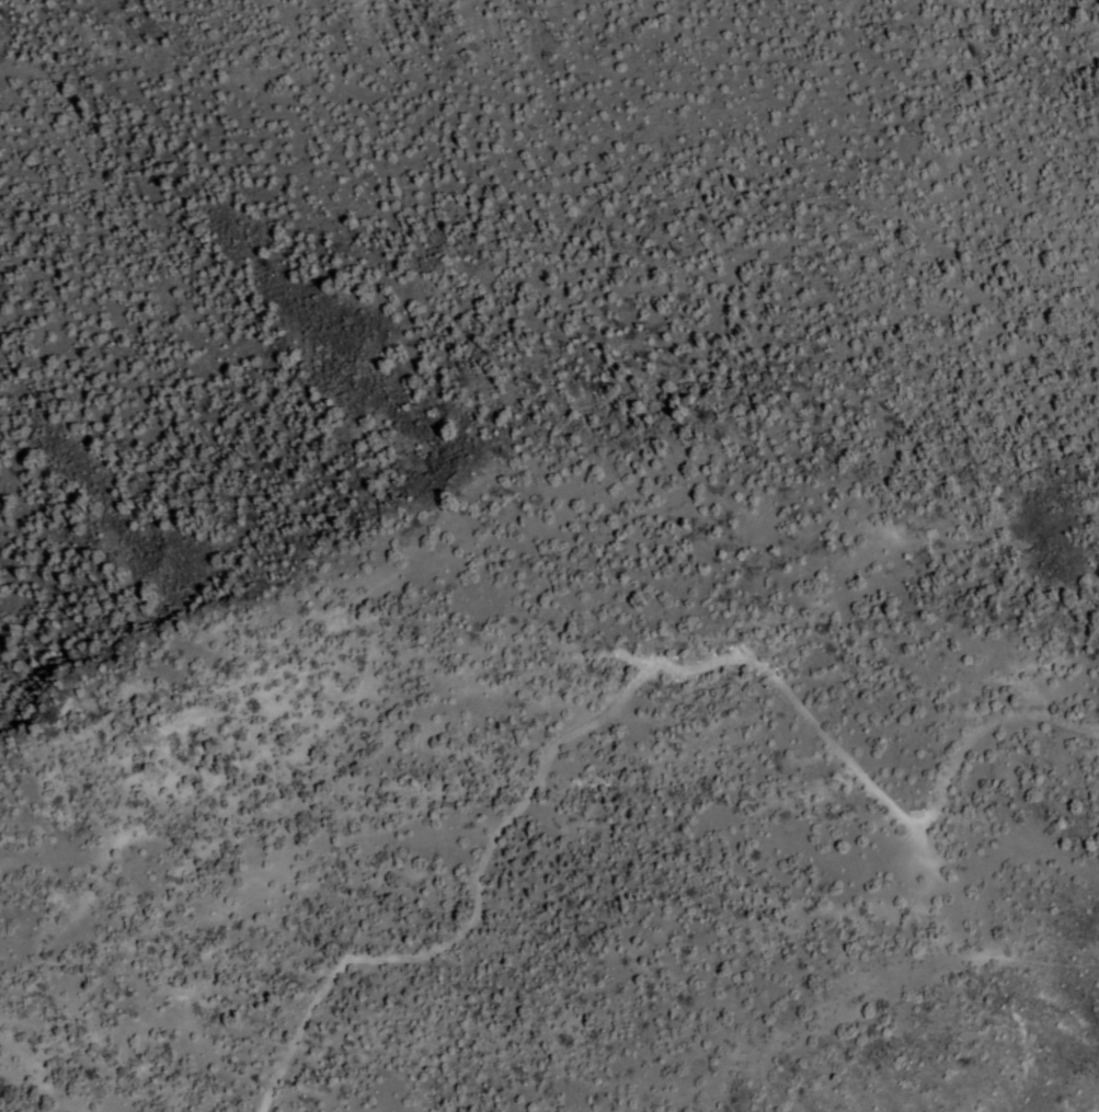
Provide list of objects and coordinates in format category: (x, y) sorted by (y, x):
road: (640, 678)

